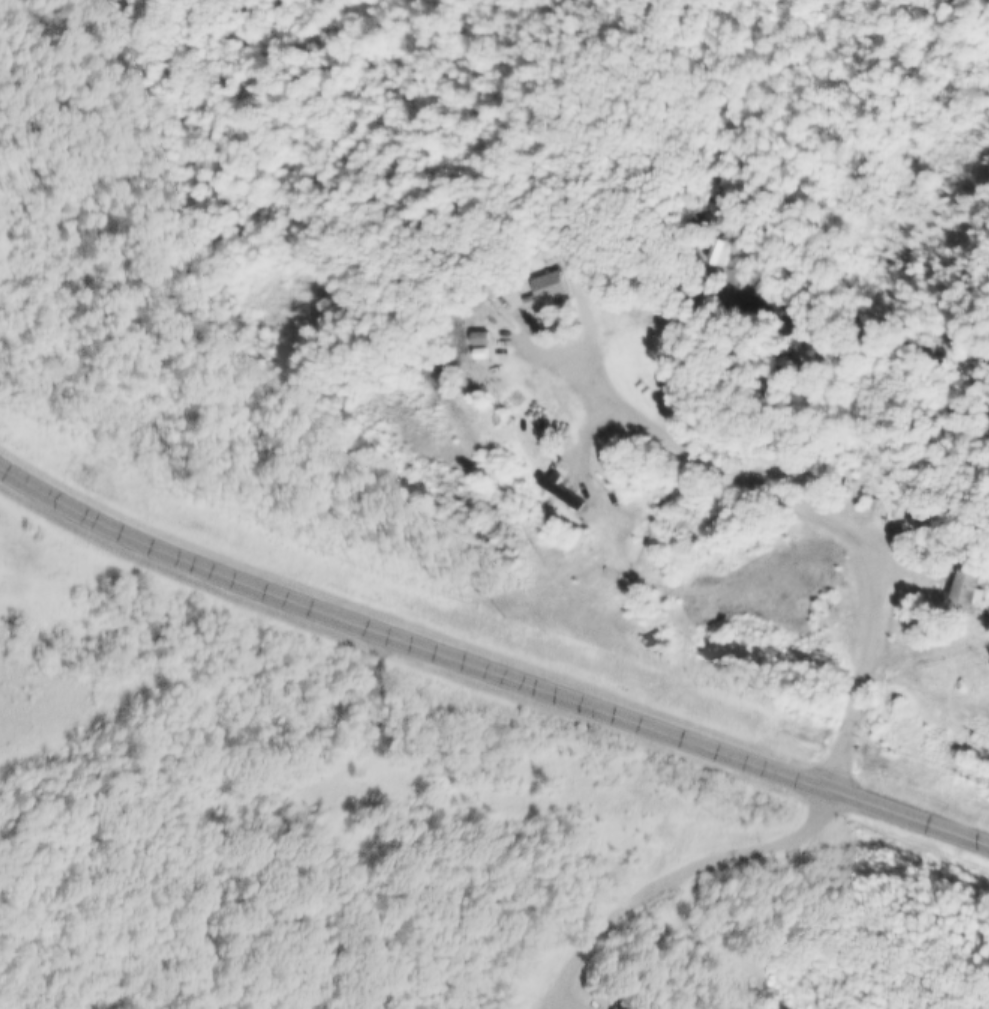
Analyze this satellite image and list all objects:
building: (668, 226)
building: (706, 242)
building: (717, 253)
building: (484, 277)
building: (536, 280)
building: (546, 290)
building: (471, 331)
building: (482, 339)
building: (473, 346)
building: (862, 475)
building: (552, 481)
road: (795, 497)
building: (957, 579)
building: (969, 589)
road: (488, 667)
road: (679, 874)

